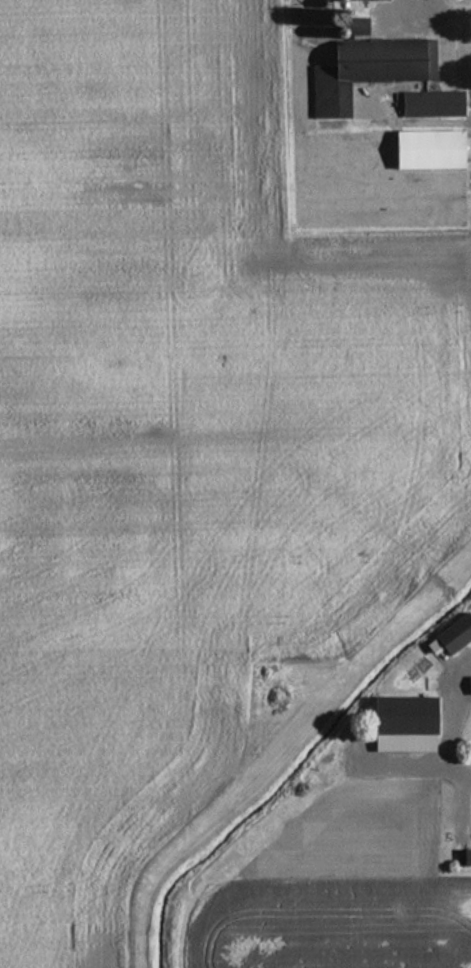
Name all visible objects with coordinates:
building: (433, 104)
building: (431, 150)
crop: (185, 435)
building: (469, 685)
road: (446, 720)
crop: (333, 924)

